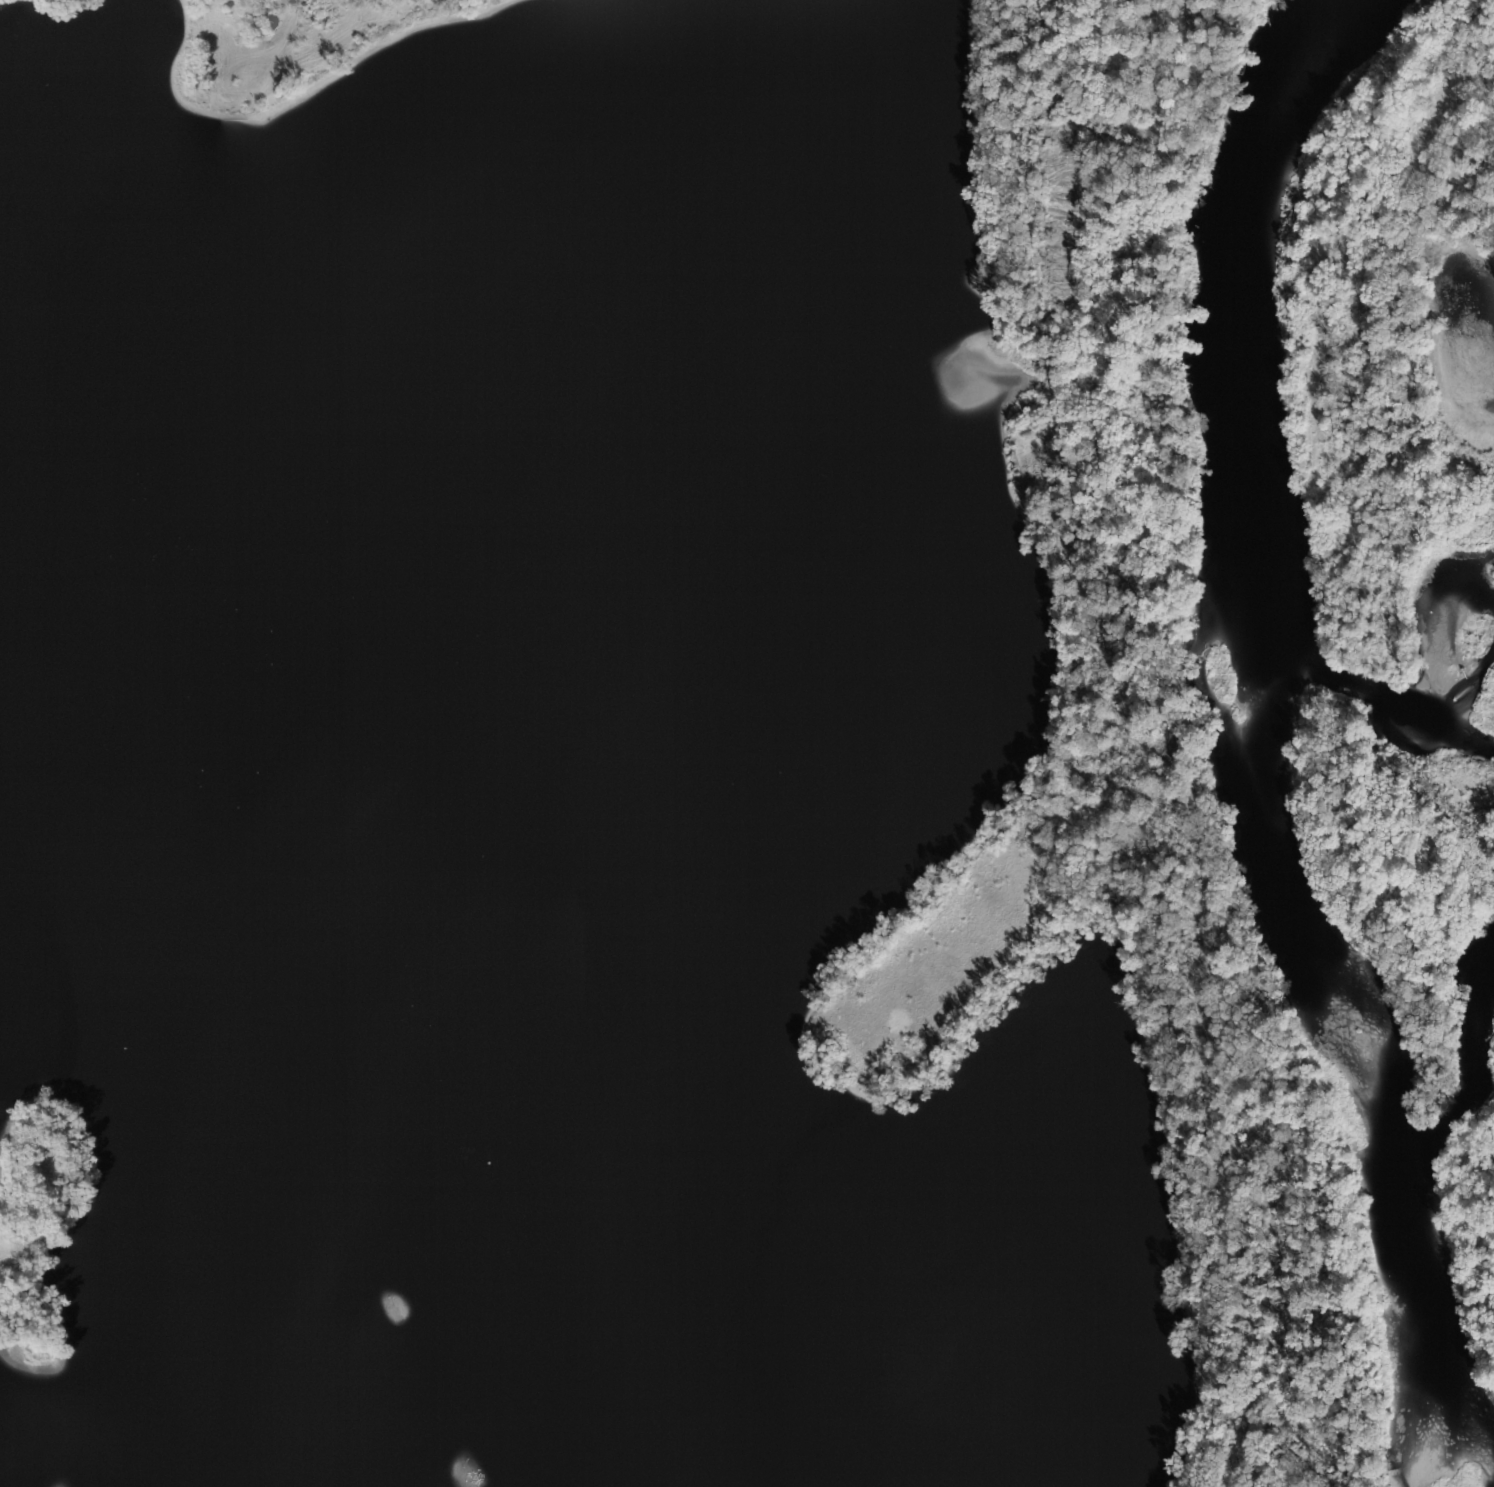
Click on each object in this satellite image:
road: (279, 43)
river: (1256, 740)

